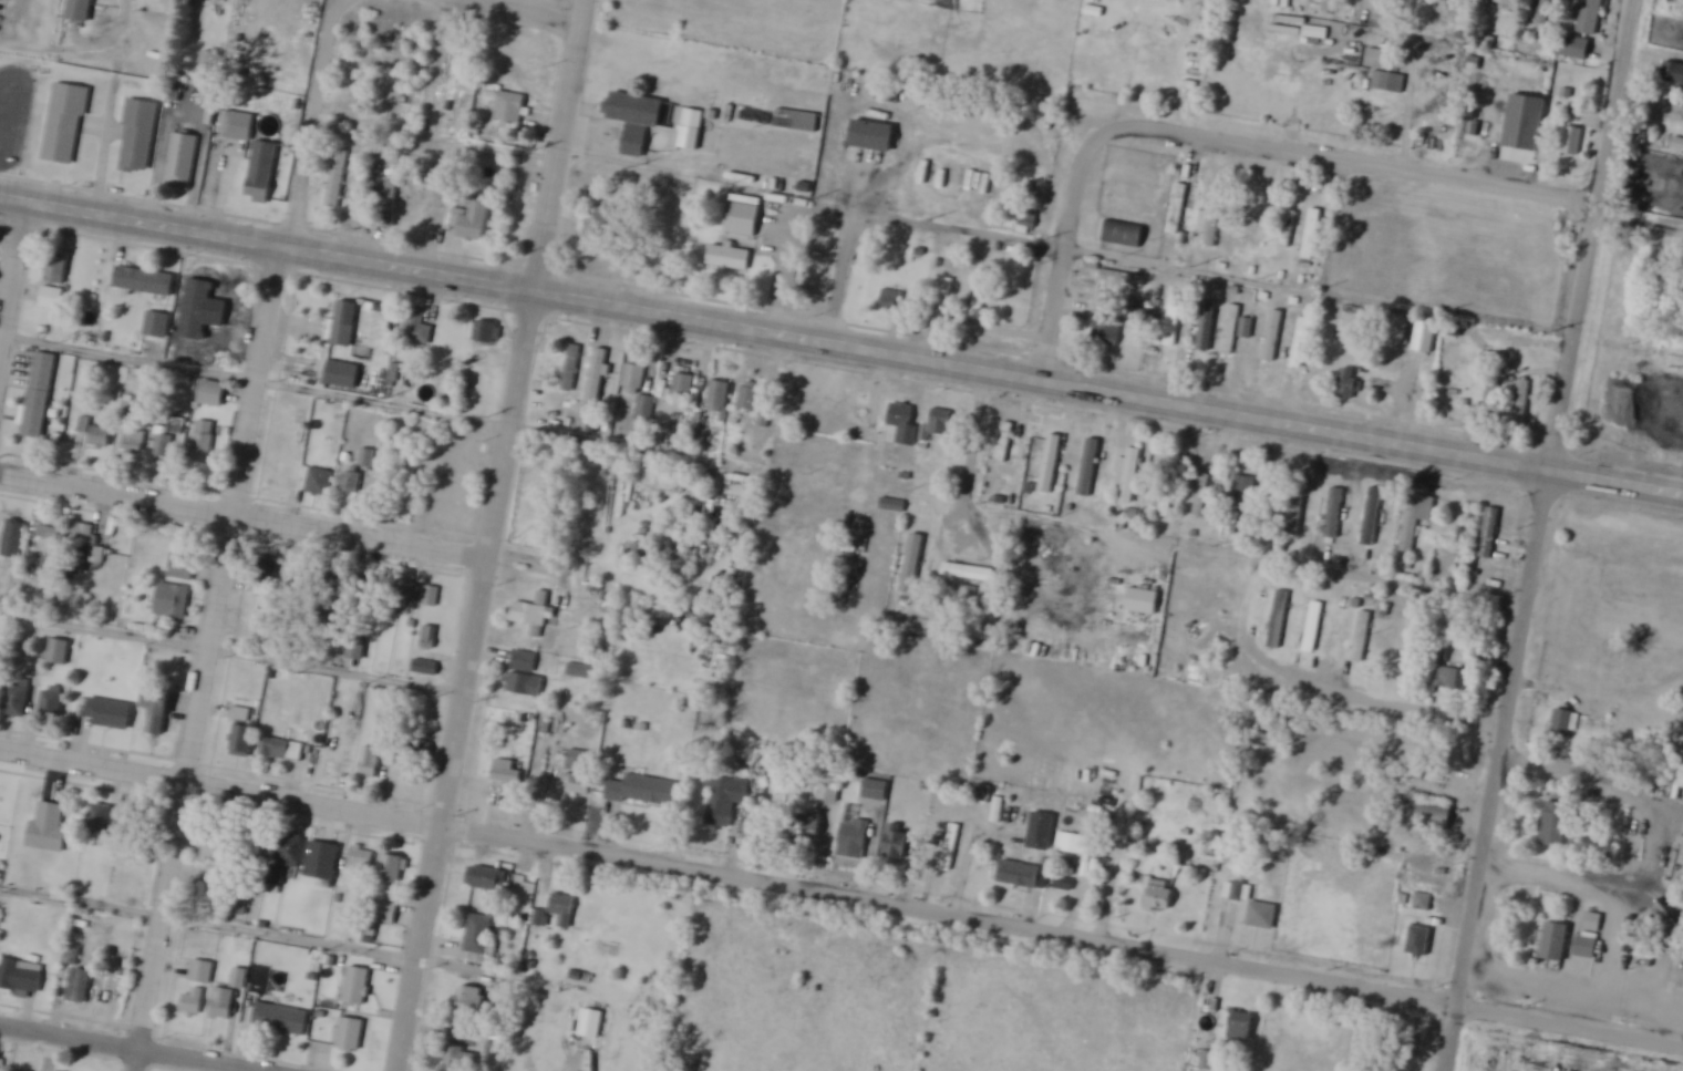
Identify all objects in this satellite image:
building: (1506, 3)
road: (339, 6)
road: (523, 9)
building: (80, 10)
building: (1589, 17)
building: (1315, 33)
building: (1576, 48)
building: (208, 65)
building: (453, 72)
building: (1673, 74)
building: (1390, 83)
building: (510, 109)
building: (1474, 119)
building: (637, 121)
building: (228, 127)
building: (691, 132)
building: (138, 137)
building: (873, 137)
building: (1572, 142)
building: (83, 147)
road: (647, 154)
road: (1352, 162)
building: (183, 163)
building: (338, 181)
building: (259, 184)
building: (510, 200)
building: (440, 203)
building: (391, 205)
building: (1177, 210)
building: (475, 220)
building: (741, 220)
building: (599, 222)
building: (1028, 224)
building: (1212, 228)
building: (1256, 228)
road: (960, 230)
building: (1290, 230)
building: (1312, 235)
building: (1123, 236)
road: (791, 240)
road: (1062, 250)
building: (730, 258)
road: (11, 269)
building: (56, 269)
road: (847, 278)
building: (144, 281)
building: (1669, 287)
building: (981, 298)
building: (51, 299)
building: (894, 300)
building: (946, 302)
building: (1174, 322)
building: (156, 326)
building: (1207, 328)
building: (223, 329)
building: (417, 329)
building: (1248, 330)
building: (1231, 331)
building: (1106, 333)
building: (487, 334)
building: (1425, 337)
road: (841, 344)
building: (1301, 344)
building: (1498, 358)
building: (359, 361)
building: (571, 371)
building: (596, 379)
road: (256, 381)
building: (1350, 385)
building: (683, 389)
building: (638, 393)
building: (211, 394)
building: (719, 399)
building: (750, 399)
building: (1491, 400)
building: (38, 404)
building: (1522, 405)
building: (902, 428)
building: (940, 428)
building: (102, 436)
building: (1004, 437)
building: (167, 439)
building: (203, 443)
building: (133, 445)
building: (366, 459)
building: (1088, 461)
building: (1051, 465)
building: (1129, 477)
building: (320, 482)
building: (352, 482)
building: (1168, 493)
building: (1201, 496)
building: (1243, 501)
building: (894, 507)
building: (1298, 509)
building: (1334, 515)
road: (244, 516)
building: (1372, 518)
building: (1416, 521)
road: (493, 535)
building: (1490, 535)
road: (1539, 535)
building: (86, 538)
building: (14, 539)
road: (226, 540)
building: (182, 566)
building: (969, 567)
building: (266, 576)
road: (1414, 584)
building: (432, 597)
building: (404, 598)
building: (173, 601)
building: (535, 612)
building: (1279, 619)
building: (1314, 627)
building: (429, 639)
building: (1366, 639)
building: (357, 647)
building: (58, 651)
road: (231, 652)
building: (425, 669)
building: (1446, 670)
building: (579, 671)
building: (524, 678)
building: (16, 701)
building: (52, 701)
building: (158, 708)
building: (109, 713)
building: (1565, 723)
building: (244, 740)
building: (282, 750)
building: (422, 751)
building: (577, 760)
building: (370, 762)
building: (502, 783)
building: (578, 784)
building: (874, 789)
building: (644, 791)
building: (724, 800)
building: (101, 817)
building: (1556, 824)
building: (808, 826)
building: (48, 828)
building: (1040, 831)
building: (855, 835)
building: (897, 843)
building: (950, 844)
building: (1072, 844)
building: (217, 851)
building: (259, 851)
building: (287, 858)
building: (361, 859)
building: (321, 862)
building: (392, 871)
building: (1023, 875)
building: (217, 878)
building: (489, 879)
road: (841, 894)
building: (1160, 896)
building: (1423, 903)
building: (1252, 906)
building: (564, 910)
building: (386, 914)
road: (208, 924)
building: (478, 938)
building: (1590, 938)
building: (1419, 941)
building: (1557, 941)
building: (202, 972)
building: (21, 976)
building: (357, 986)
building: (79, 987)
building: (471, 999)
building: (193, 1002)
building: (223, 1005)
building: (280, 1019)
building: (590, 1023)
building: (1242, 1026)
building: (350, 1034)
road: (127, 1049)
building: (1403, 1049)
building: (458, 1057)
building: (1207, 1059)
road: (581, 1064)

